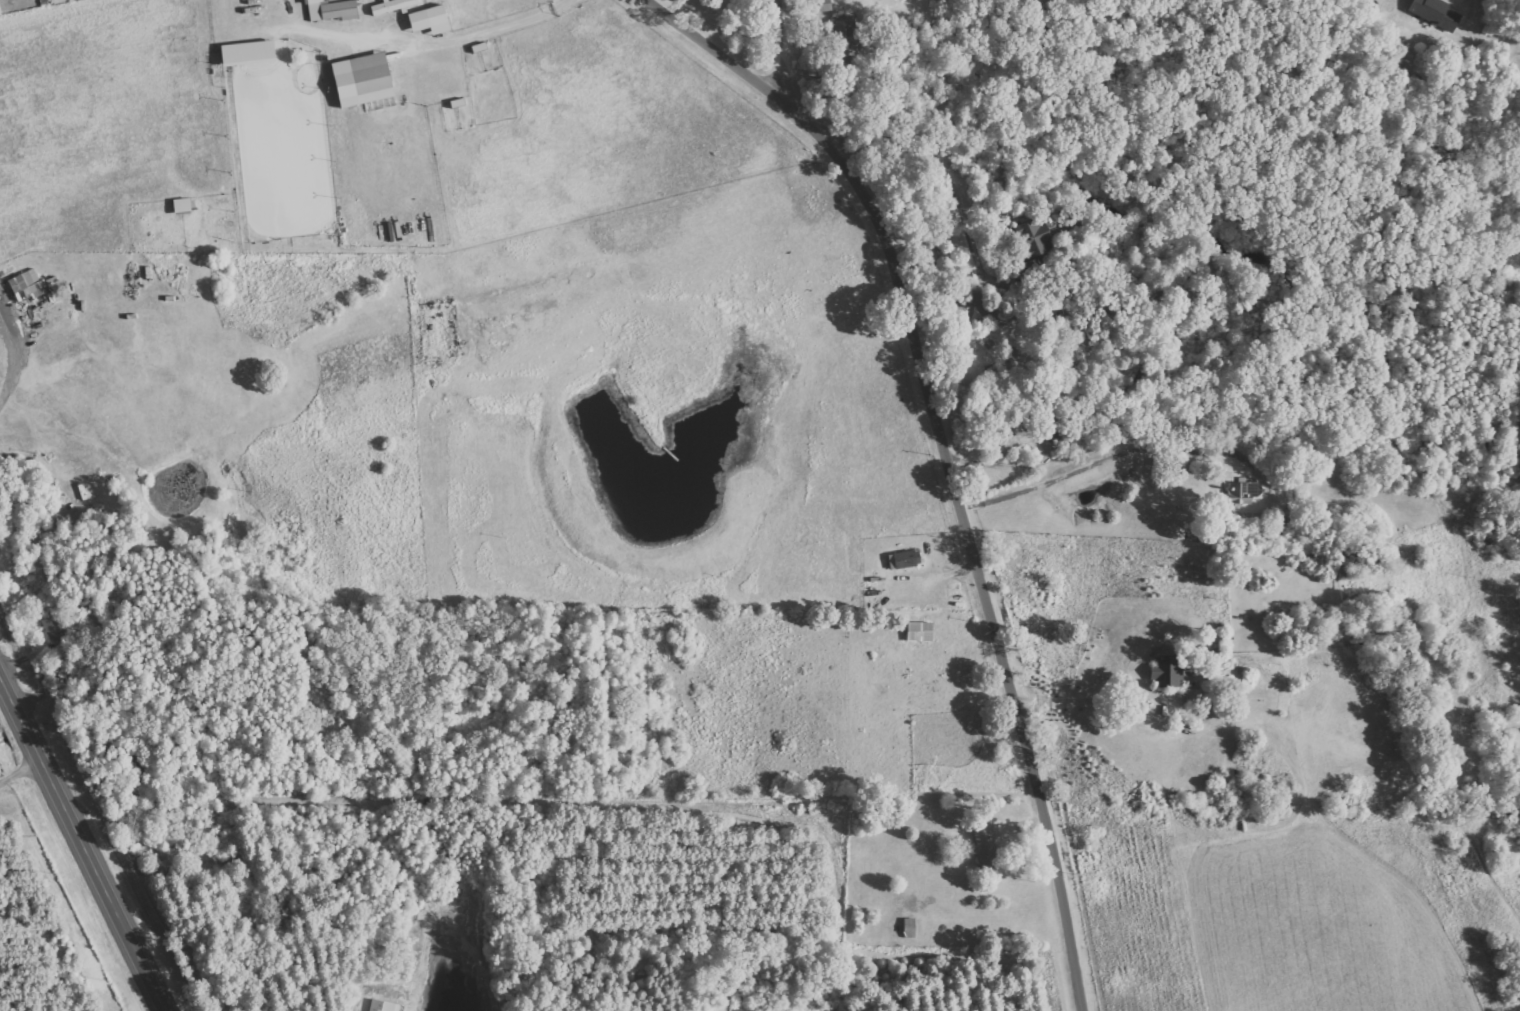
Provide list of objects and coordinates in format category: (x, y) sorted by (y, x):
building: (825, 5)
road: (1488, 5)
building: (394, 6)
building: (333, 10)
building: (1434, 13)
building: (433, 20)
building: (848, 36)
road: (784, 48)
building: (252, 52)
building: (366, 79)
building: (185, 206)
building: (1039, 236)
building: (172, 270)
building: (29, 290)
road: (945, 457)
building: (1245, 493)
building: (907, 560)
building: (923, 627)
building: (55, 629)
building: (1170, 673)
road: (83, 844)
building: (989, 848)
building: (386, 1006)

